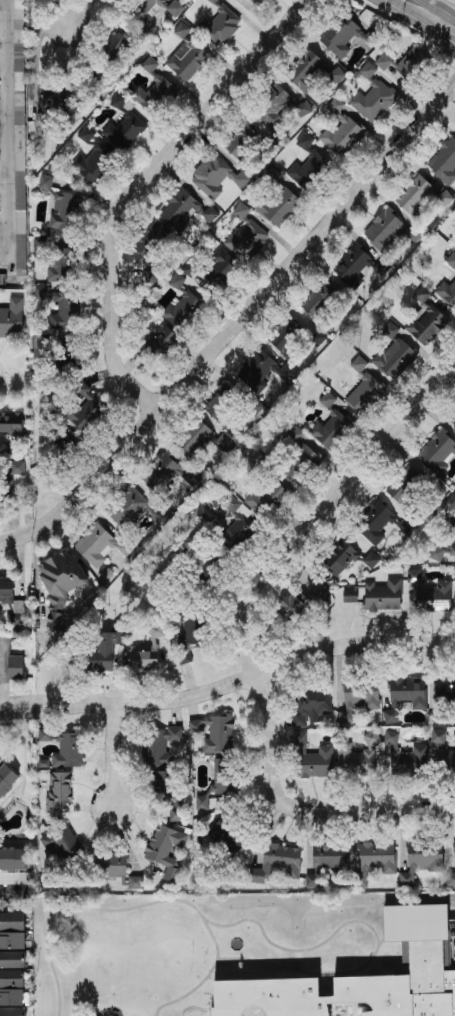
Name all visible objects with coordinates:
road: (396, 7)
building: (175, 8)
road: (440, 8)
building: (150, 10)
road: (79, 11)
building: (219, 25)
road: (433, 29)
building: (182, 30)
building: (347, 37)
building: (116, 46)
building: (187, 60)
building: (384, 62)
building: (411, 64)
building: (305, 71)
building: (337, 75)
building: (154, 89)
building: (373, 96)
building: (52, 99)
building: (119, 102)
building: (274, 107)
building: (303, 110)
building: (124, 132)
building: (343, 136)
road: (10, 139)
building: (20, 141)
building: (242, 141)
building: (305, 141)
building: (444, 162)
building: (95, 163)
building: (309, 171)
building: (217, 177)
building: (46, 182)
road: (141, 186)
building: (415, 196)
building: (444, 198)
building: (279, 206)
building: (185, 210)
building: (66, 211)
building: (241, 211)
building: (389, 231)
building: (152, 240)
building: (247, 240)
building: (40, 248)
building: (452, 260)
building: (353, 264)
building: (62, 265)
building: (382, 267)
building: (191, 269)
building: (220, 269)
building: (3, 279)
building: (177, 281)
building: (41, 292)
building: (447, 292)
building: (317, 300)
building: (182, 310)
building: (66, 311)
building: (12, 319)
building: (426, 319)
road: (236, 326)
building: (317, 338)
building: (164, 339)
building: (287, 339)
building: (68, 352)
building: (395, 357)
building: (263, 371)
building: (364, 389)
building: (328, 400)
building: (87, 408)
building: (232, 408)
building: (11, 423)
building: (331, 430)
building: (201, 440)
building: (438, 452)
building: (301, 464)
building: (161, 473)
building: (405, 484)
building: (268, 498)
building: (451, 502)
building: (135, 509)
road: (325, 510)
building: (375, 522)
building: (237, 523)
building: (407, 525)
building: (97, 545)
building: (442, 551)
building: (340, 558)
building: (371, 560)
building: (61, 583)
building: (431, 593)
building: (350, 596)
building: (383, 596)
building: (9, 598)
building: (302, 602)
building: (192, 628)
building: (107, 649)
building: (147, 649)
building: (184, 657)
building: (16, 667)
road: (1, 673)
road: (229, 684)
building: (445, 689)
building: (405, 696)
building: (359, 699)
building: (310, 705)
building: (214, 733)
building: (45, 735)
building: (161, 746)
building: (69, 751)
building: (443, 752)
road: (24, 755)
building: (358, 756)
building: (406, 757)
road: (116, 759)
building: (312, 759)
building: (6, 778)
building: (163, 778)
road: (23, 779)
building: (219, 782)
building: (59, 791)
road: (301, 809)
building: (176, 810)
building: (228, 834)
building: (62, 842)
building: (166, 850)
building: (426, 855)
building: (375, 860)
building: (327, 861)
building: (278, 862)
building: (112, 865)
building: (13, 866)
building: (451, 877)
building: (407, 878)
building: (136, 882)
road: (13, 892)
road: (143, 905)
building: (12, 921)
building: (410, 921)
road: (372, 928)
building: (12, 941)
building: (12, 960)
building: (12, 978)
building: (349, 990)
road: (211, 995)
building: (12, 997)
building: (12, 1011)
road: (194, 1014)

